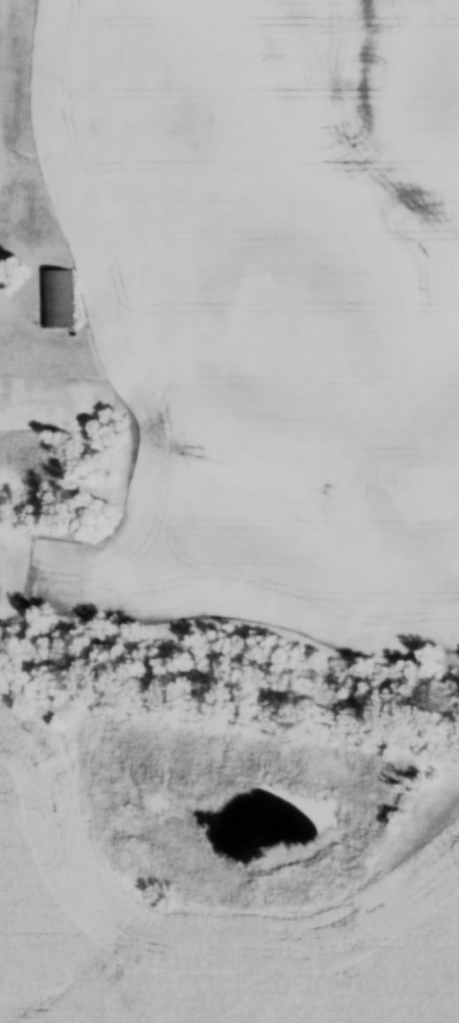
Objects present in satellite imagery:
building: (57, 301)

